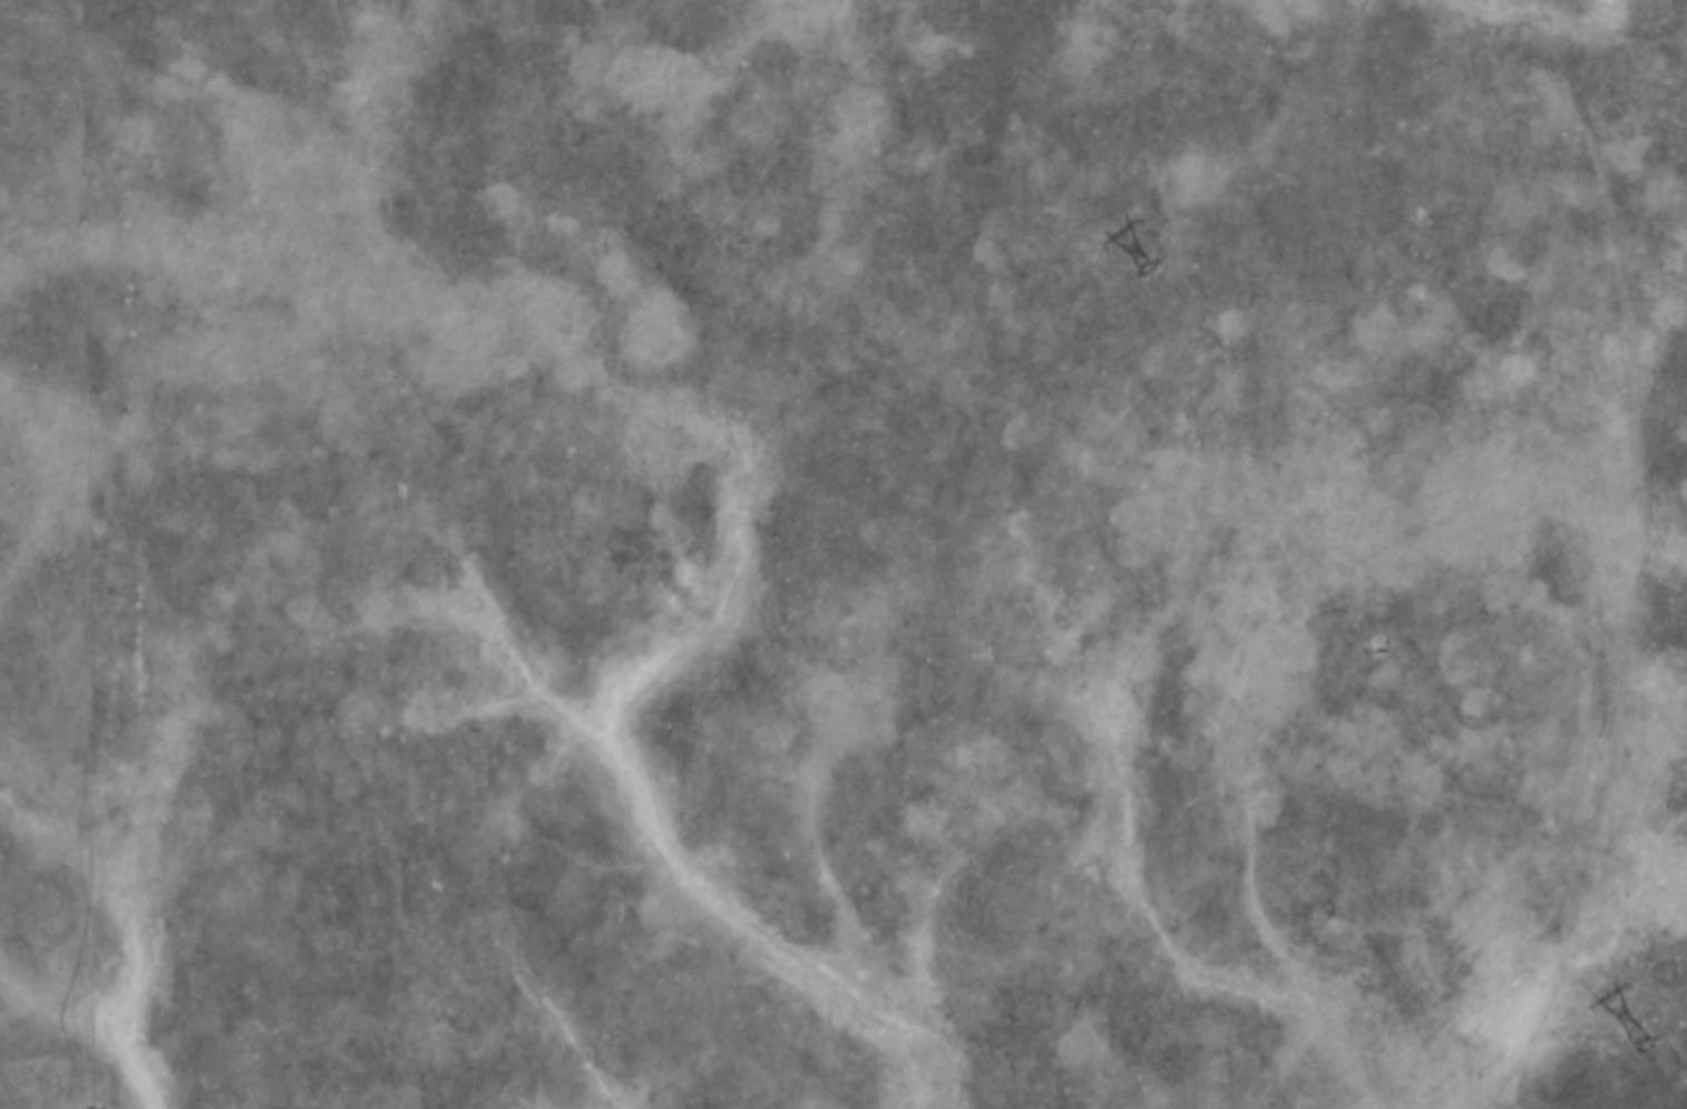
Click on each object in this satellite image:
power tower: (1147, 270)
power tower: (1639, 1047)

